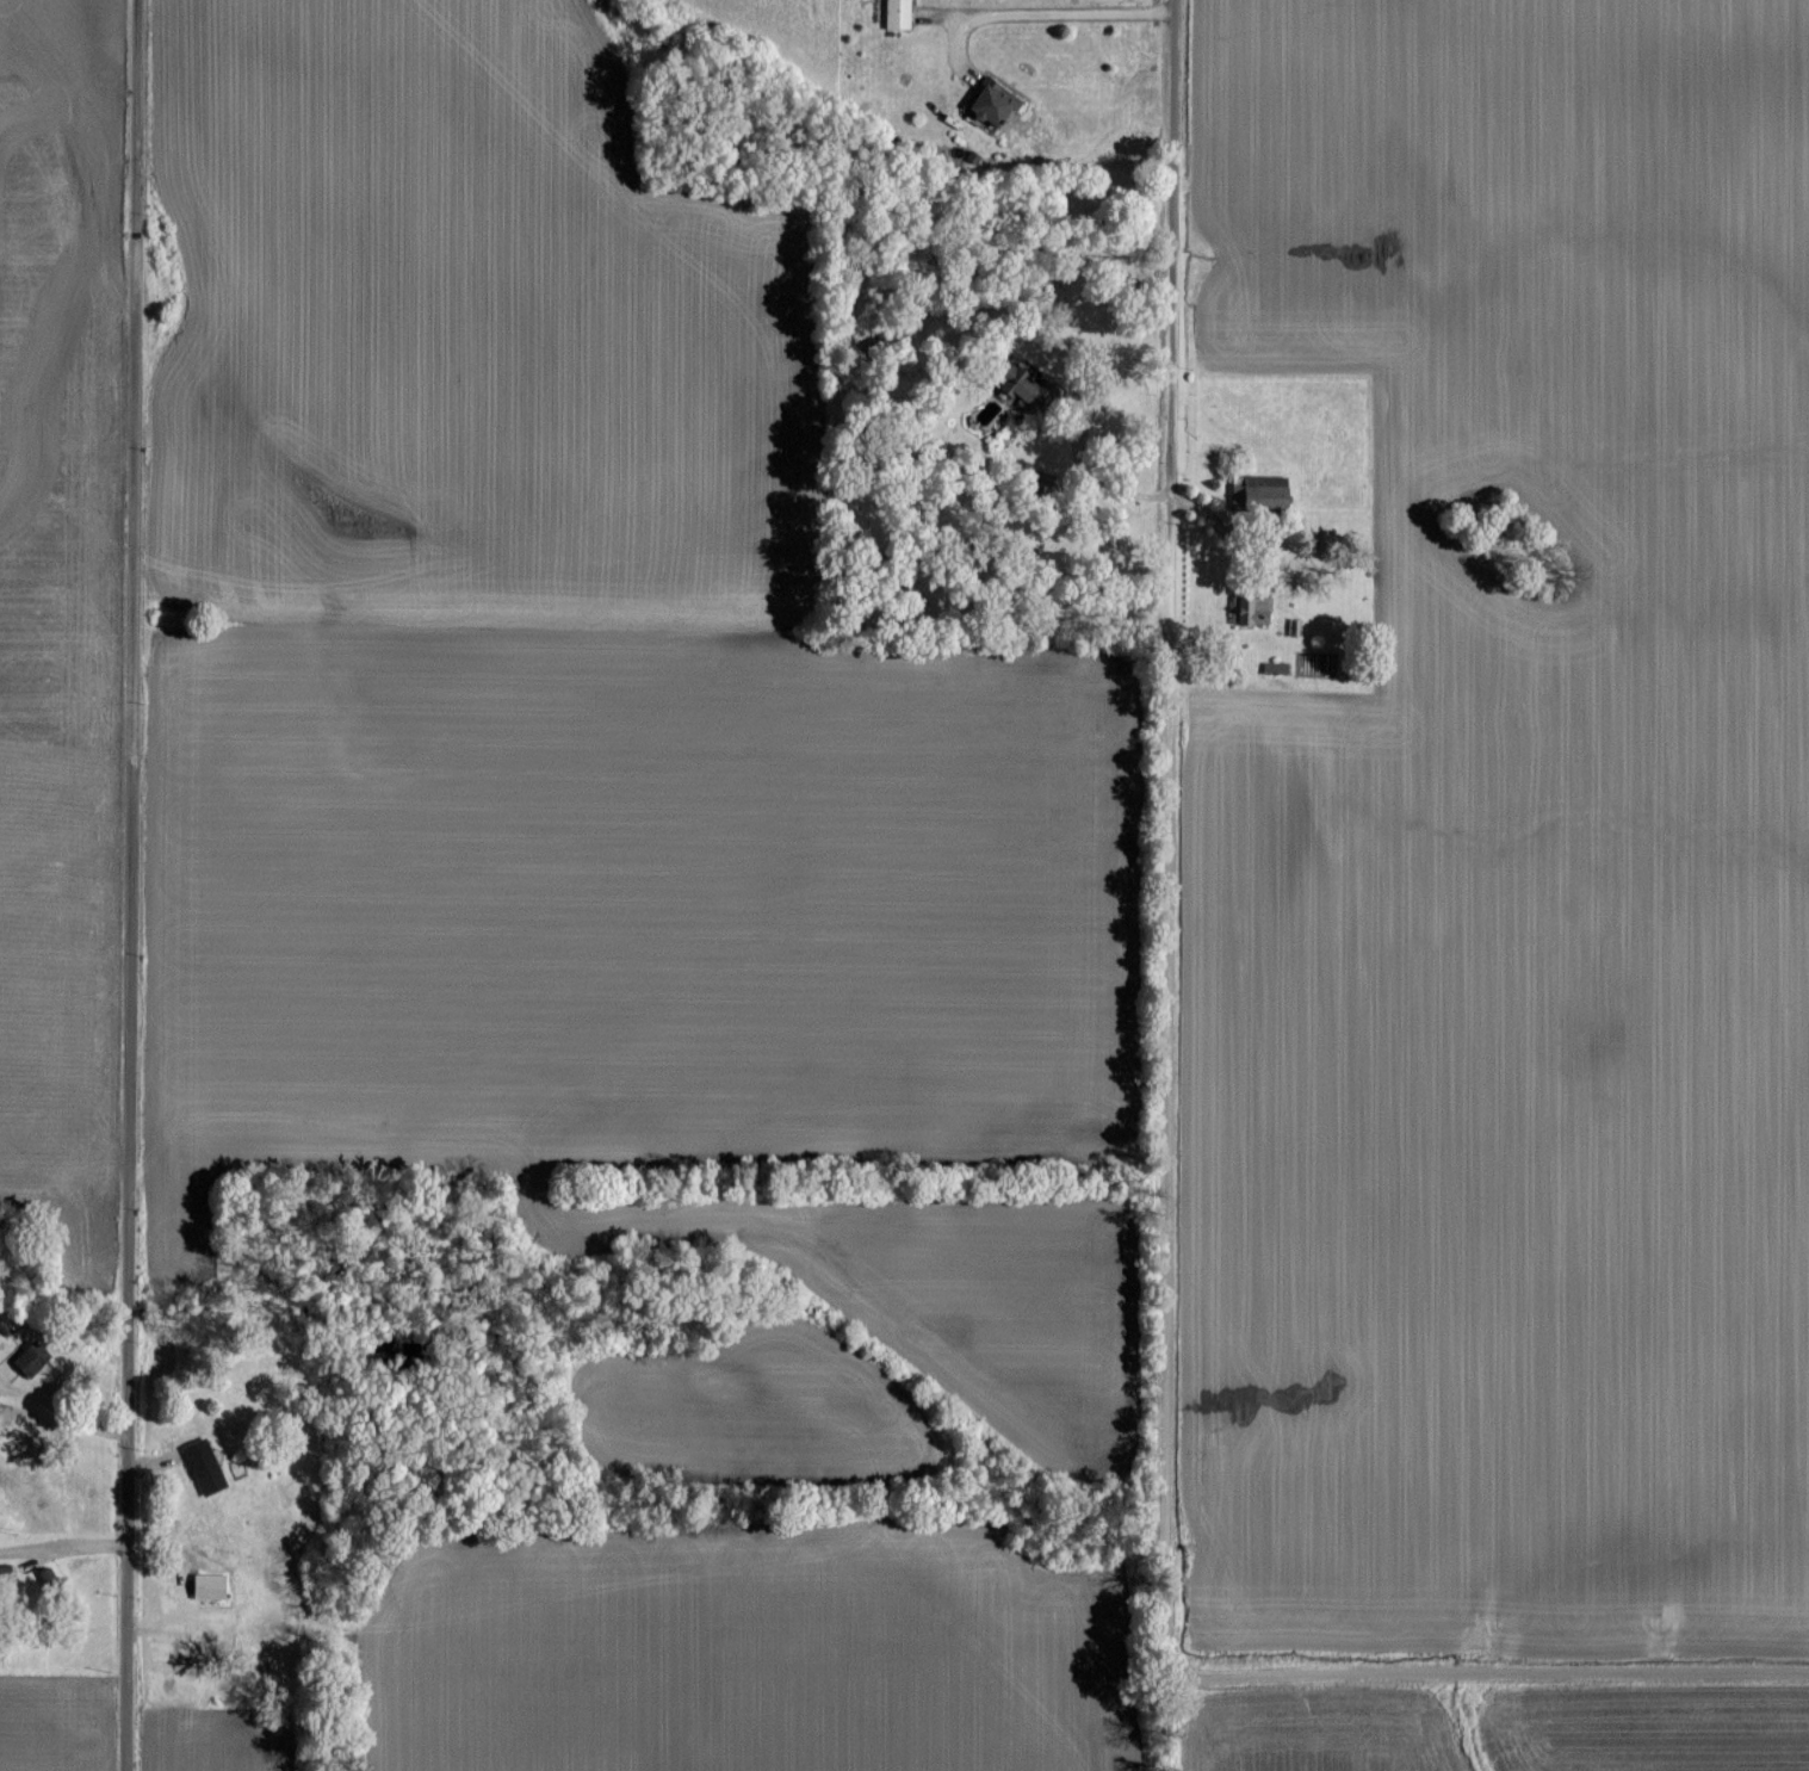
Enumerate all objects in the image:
road: (1049, 10)
building: (900, 13)
building: (998, 103)
building: (1039, 386)
road: (1157, 848)
road: (125, 885)
building: (33, 1357)
building: (205, 1465)
road: (62, 1546)
building: (211, 1584)
road: (1485, 1691)

